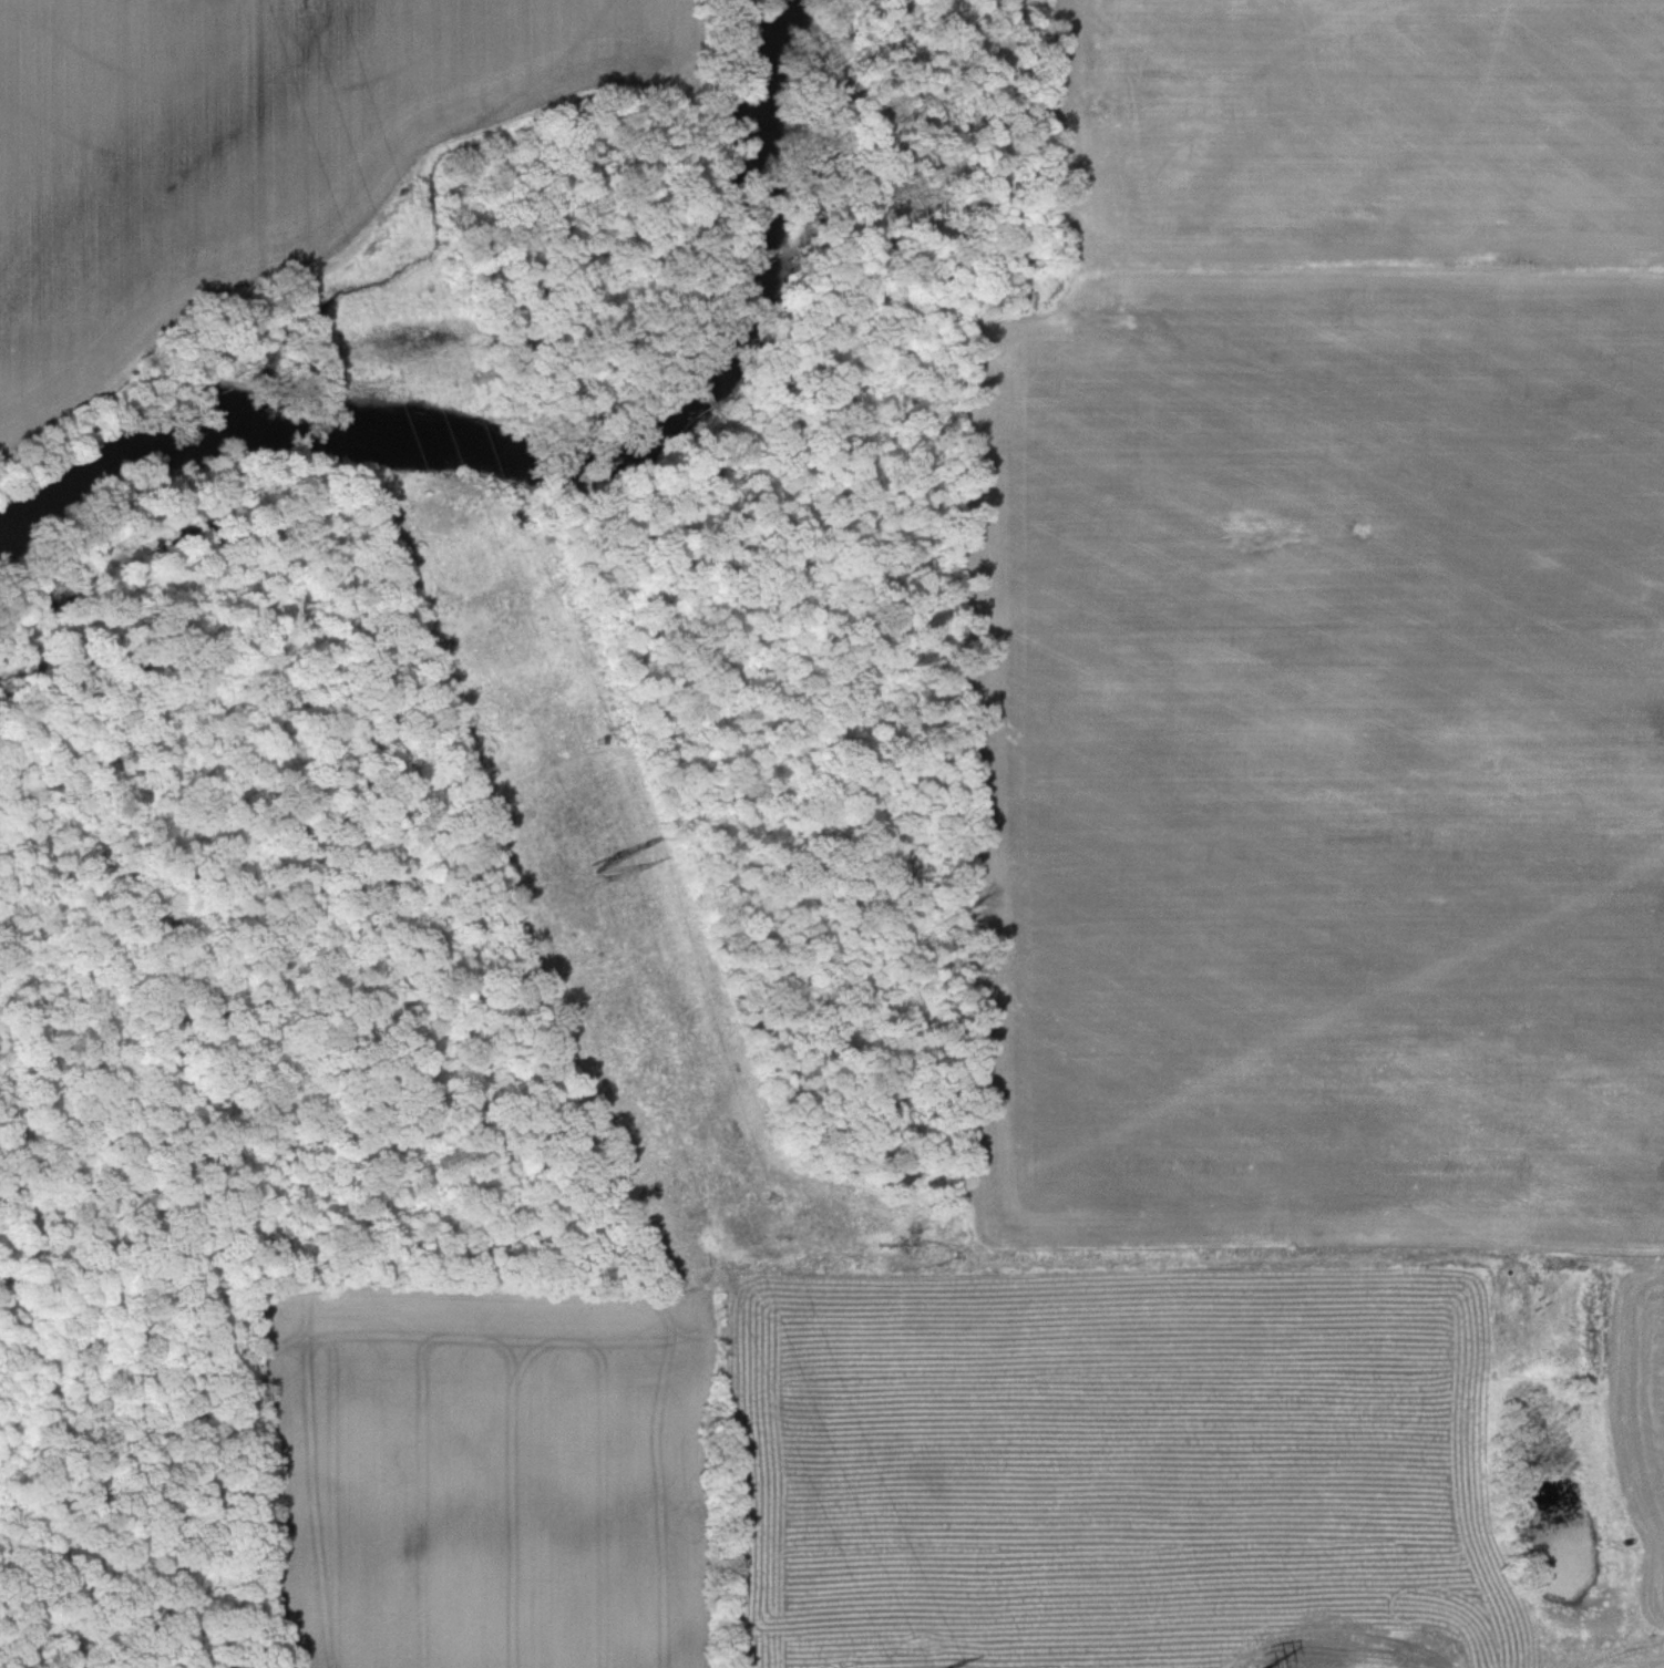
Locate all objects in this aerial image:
river: (561, 472)
power tower: (590, 871)

